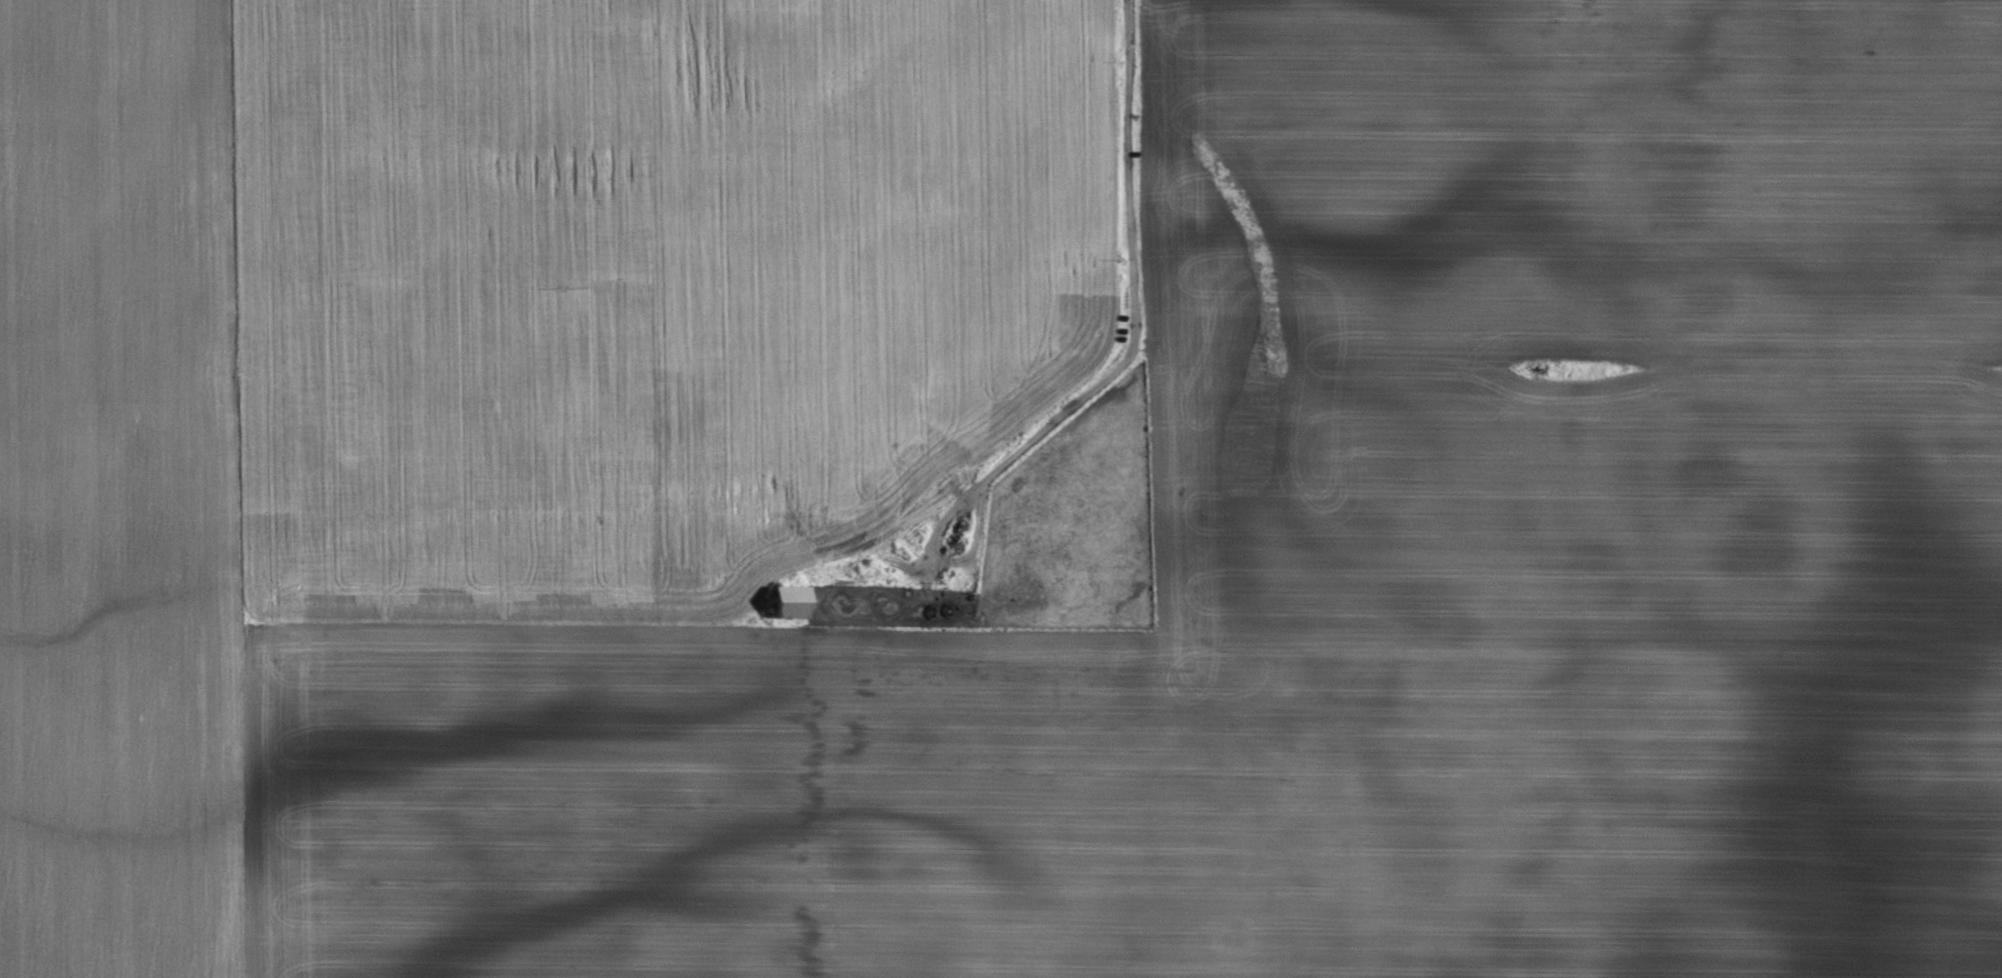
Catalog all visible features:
road: (1132, 305)
building: (795, 602)

